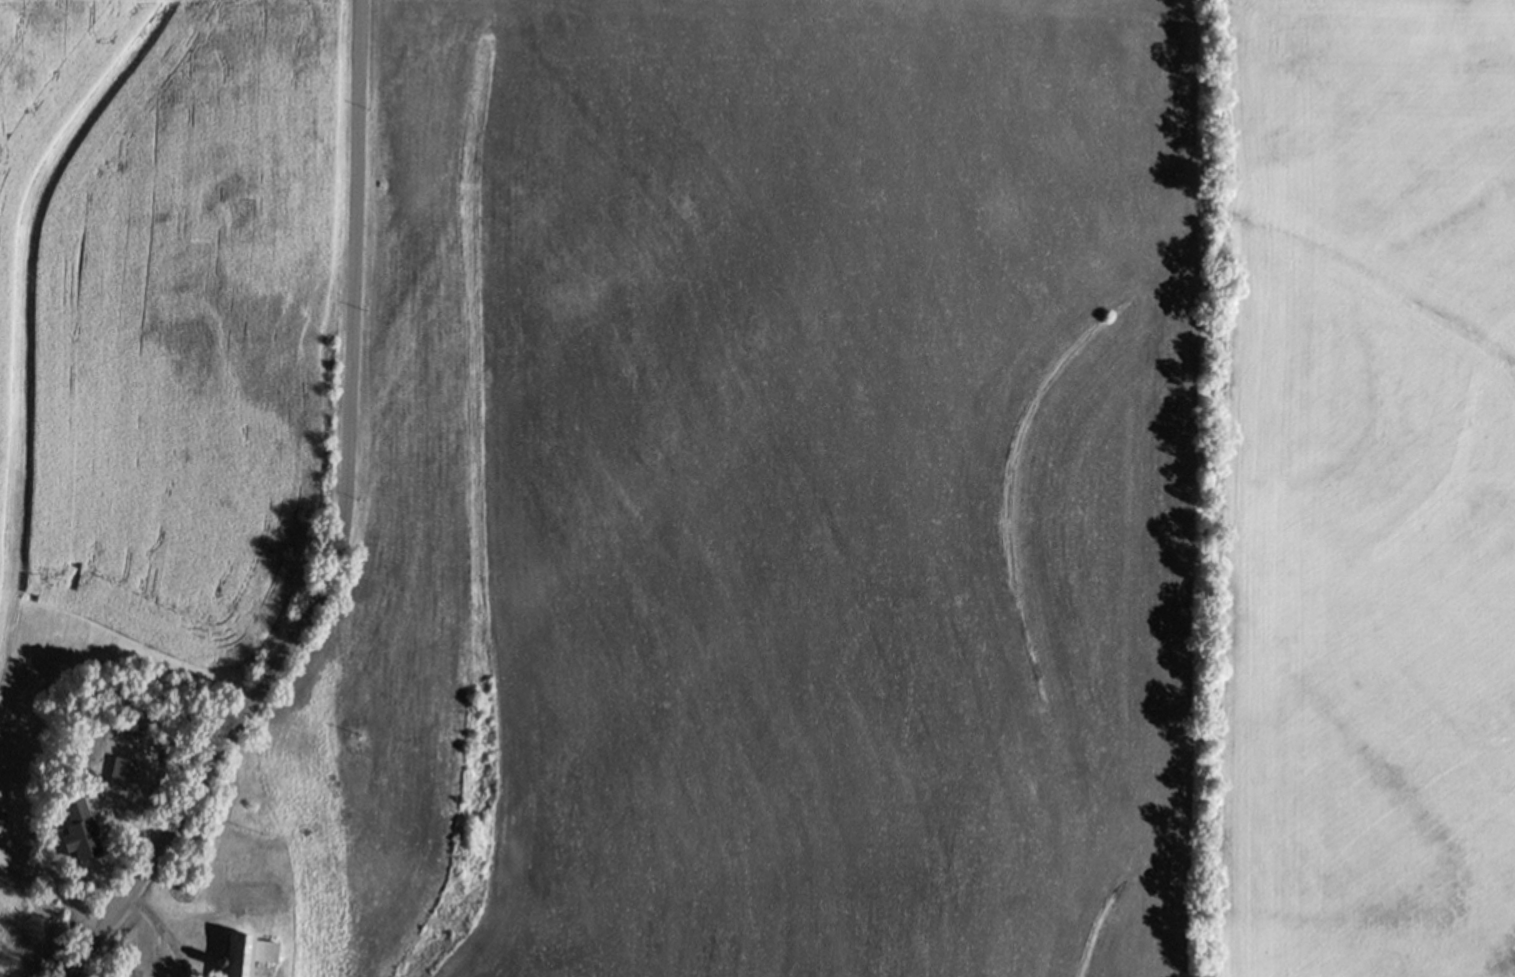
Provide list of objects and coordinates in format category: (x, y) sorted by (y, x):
road: (341, 527)
building: (79, 830)
building: (253, 890)
road: (160, 931)
building: (248, 954)

